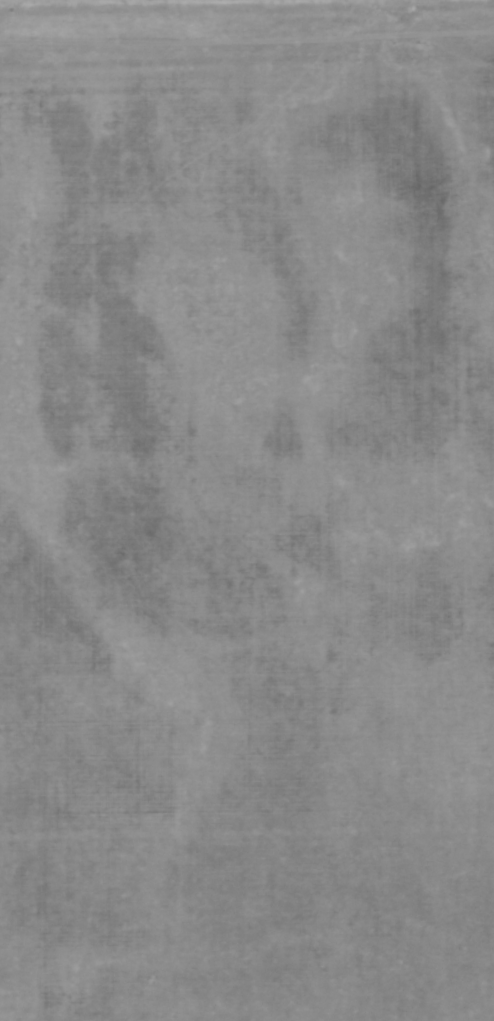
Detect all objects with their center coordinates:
crop: (247, 510)

